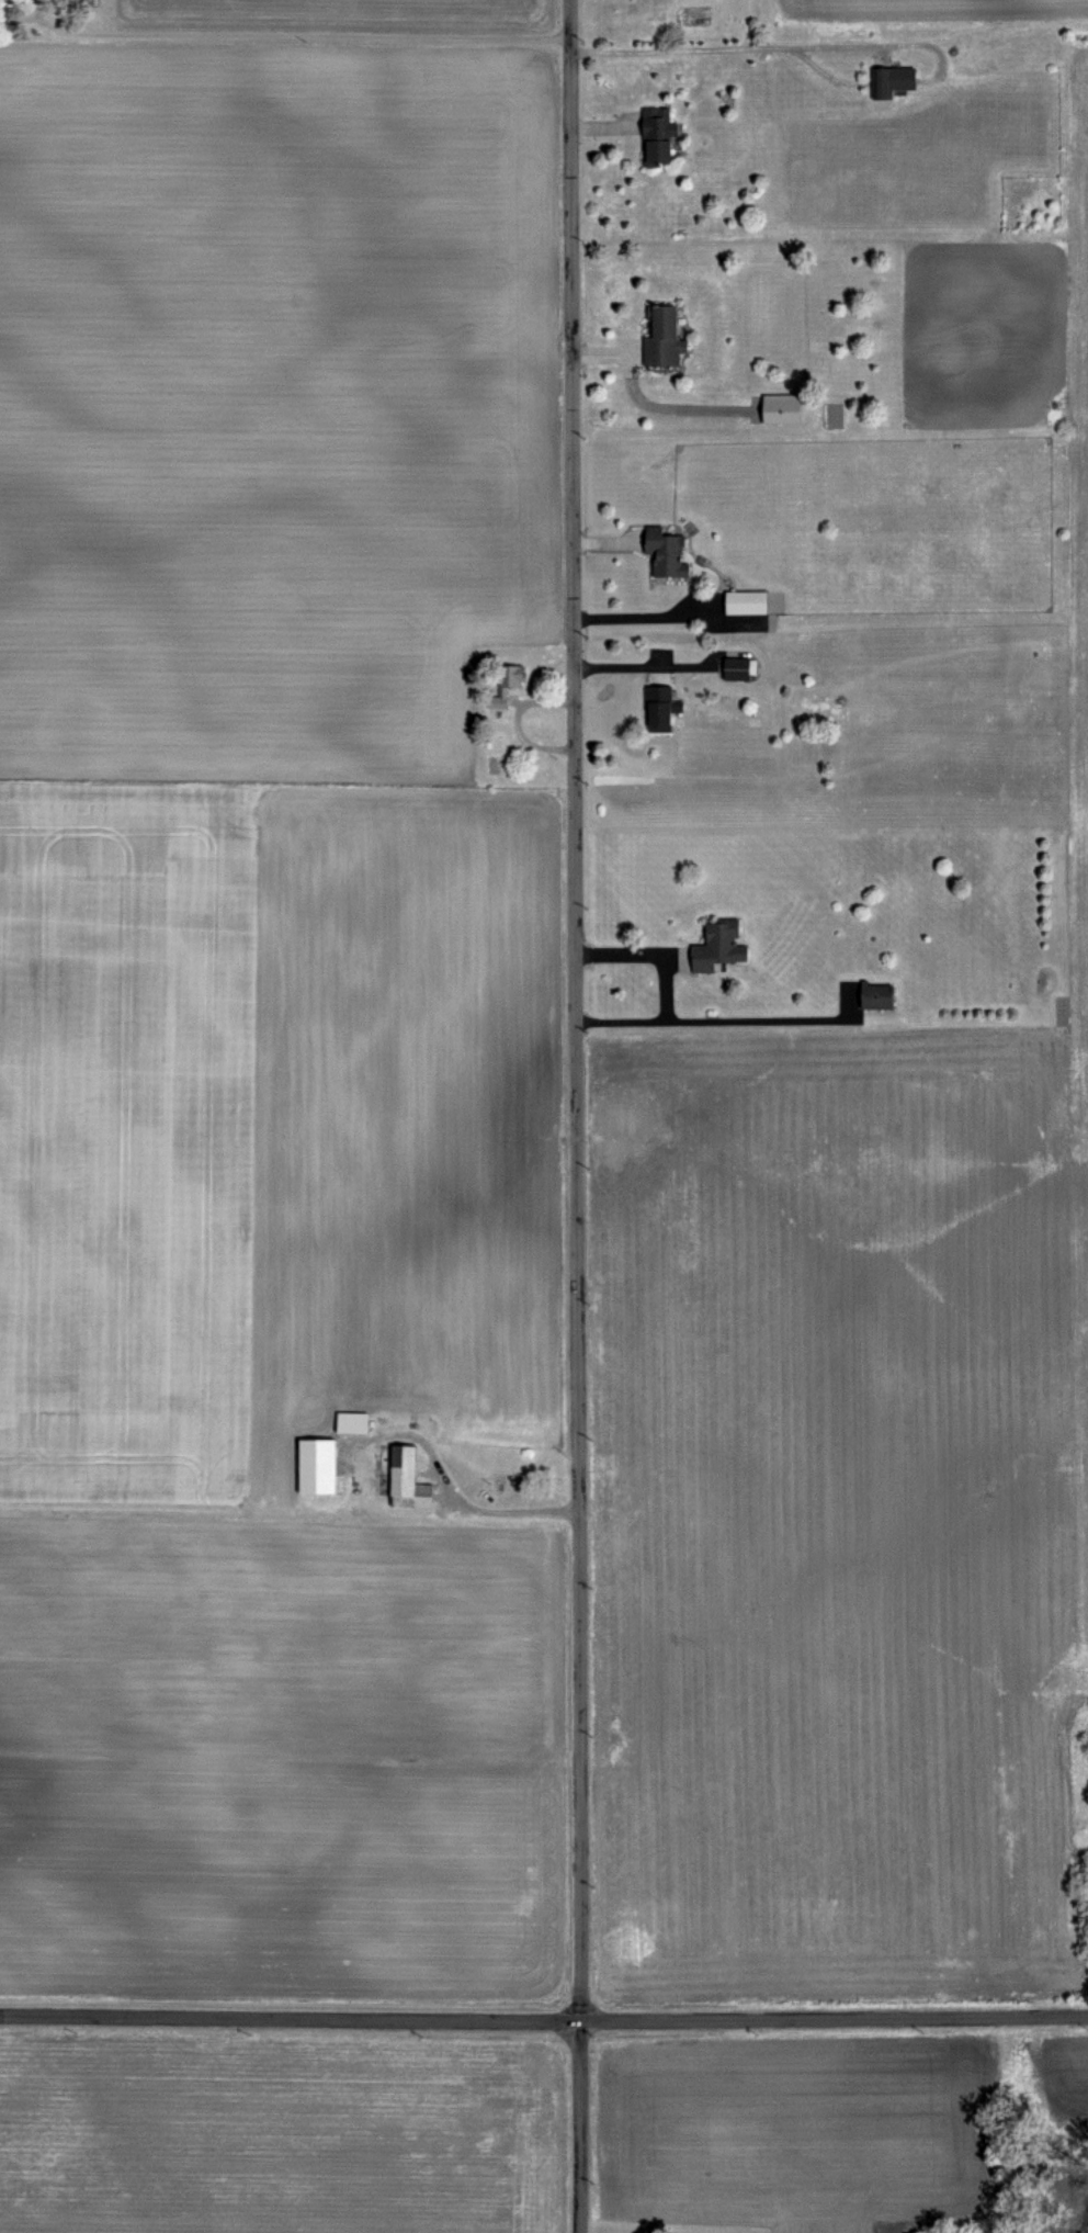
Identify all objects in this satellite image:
road: (313, 35)
road: (717, 46)
building: (888, 79)
building: (655, 135)
building: (660, 336)
building: (778, 408)
building: (662, 551)
building: (743, 600)
road: (638, 613)
road: (638, 664)
building: (737, 667)
building: (508, 680)
building: (658, 707)
building: (716, 945)
road: (666, 985)
building: (873, 995)
road: (573, 1116)
building: (349, 1421)
building: (403, 1479)
road: (505, 1509)
road: (544, 2026)

